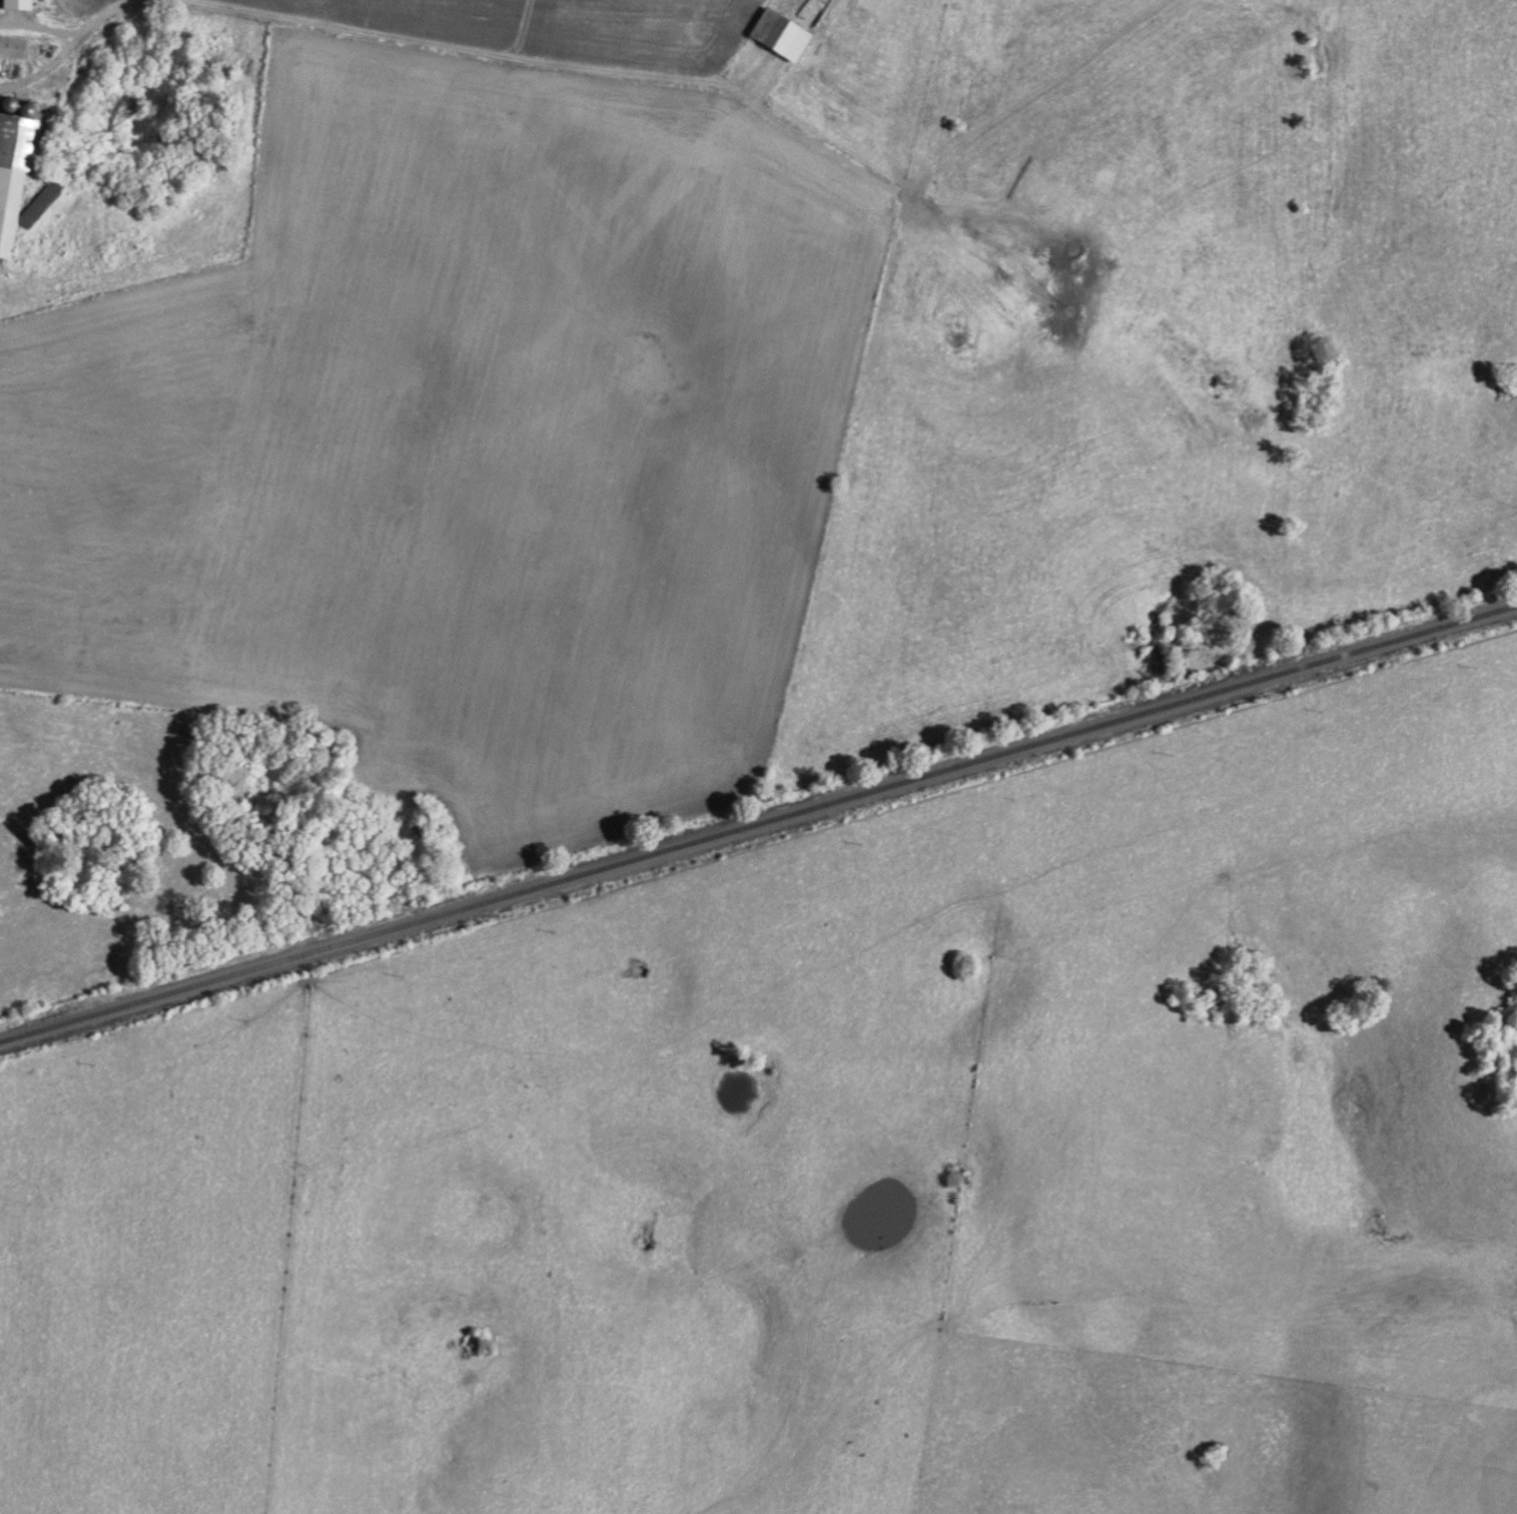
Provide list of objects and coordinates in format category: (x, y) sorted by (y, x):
building: (24, 3)
building: (774, 36)
building: (17, 173)
railway: (758, 819)

